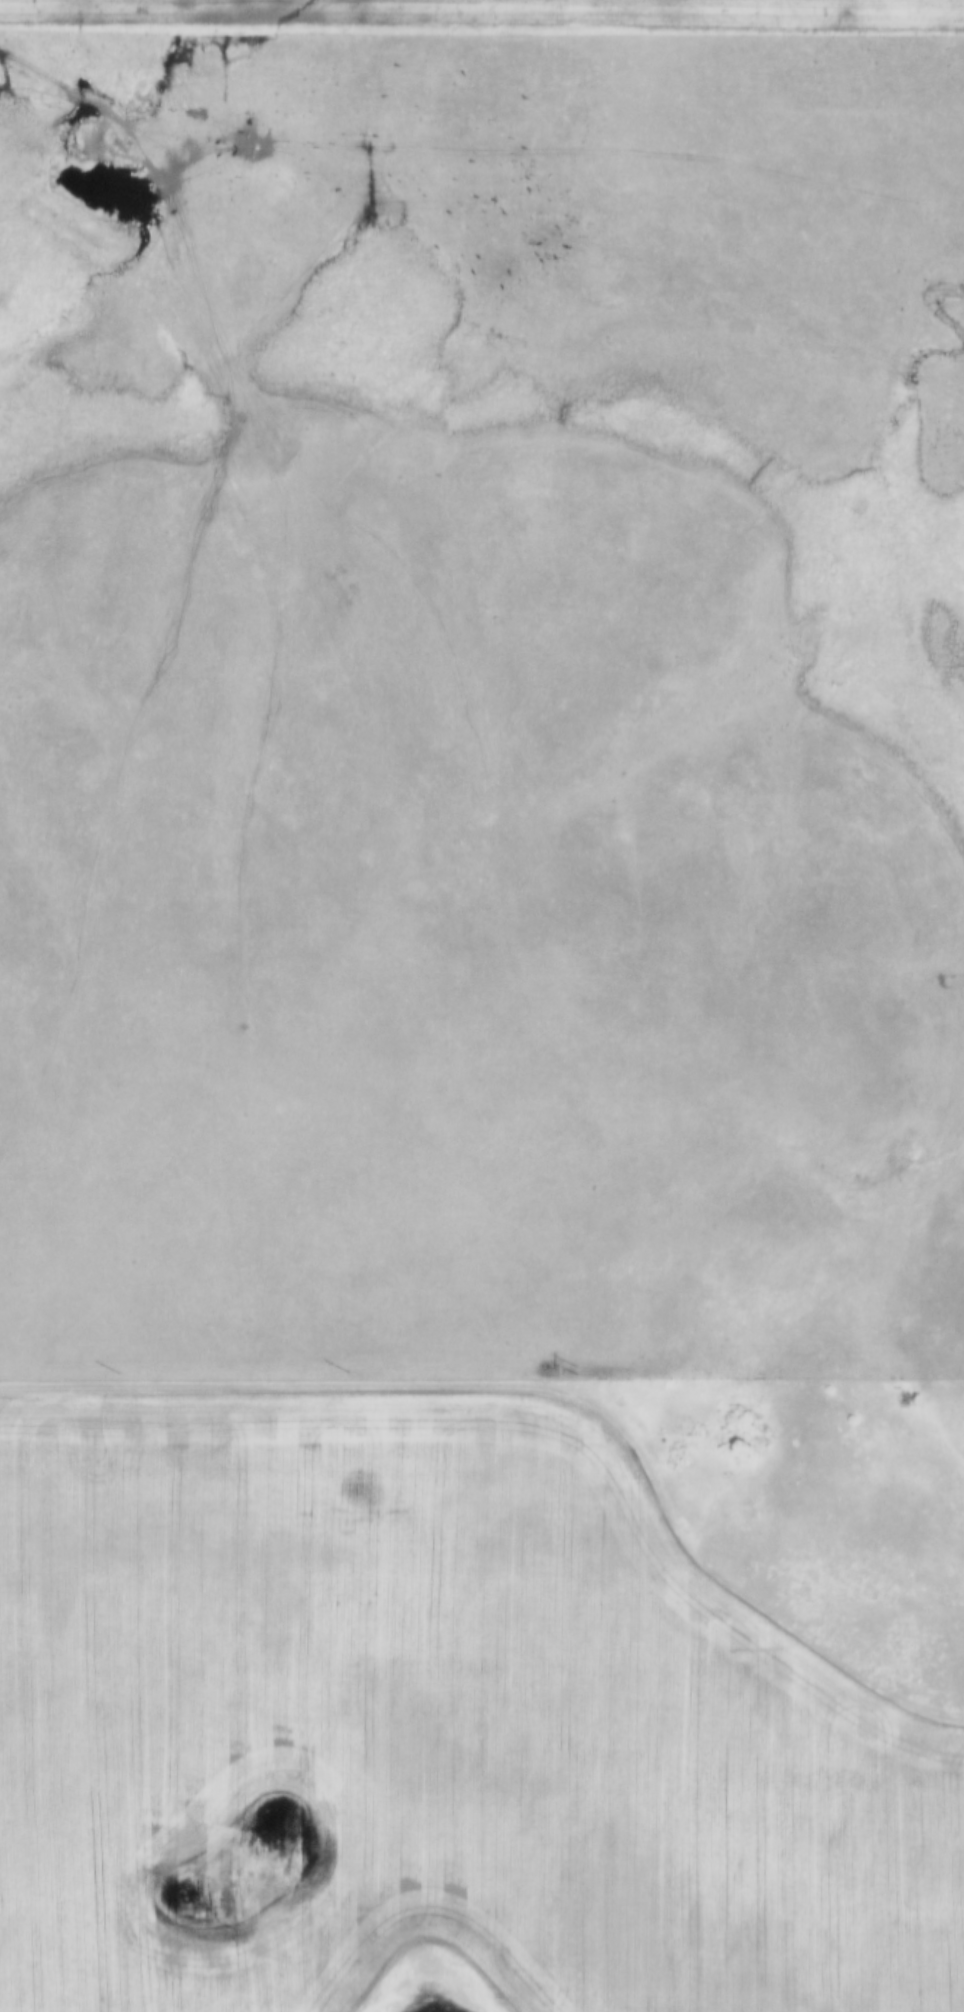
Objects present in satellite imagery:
road: (546, 1403)

